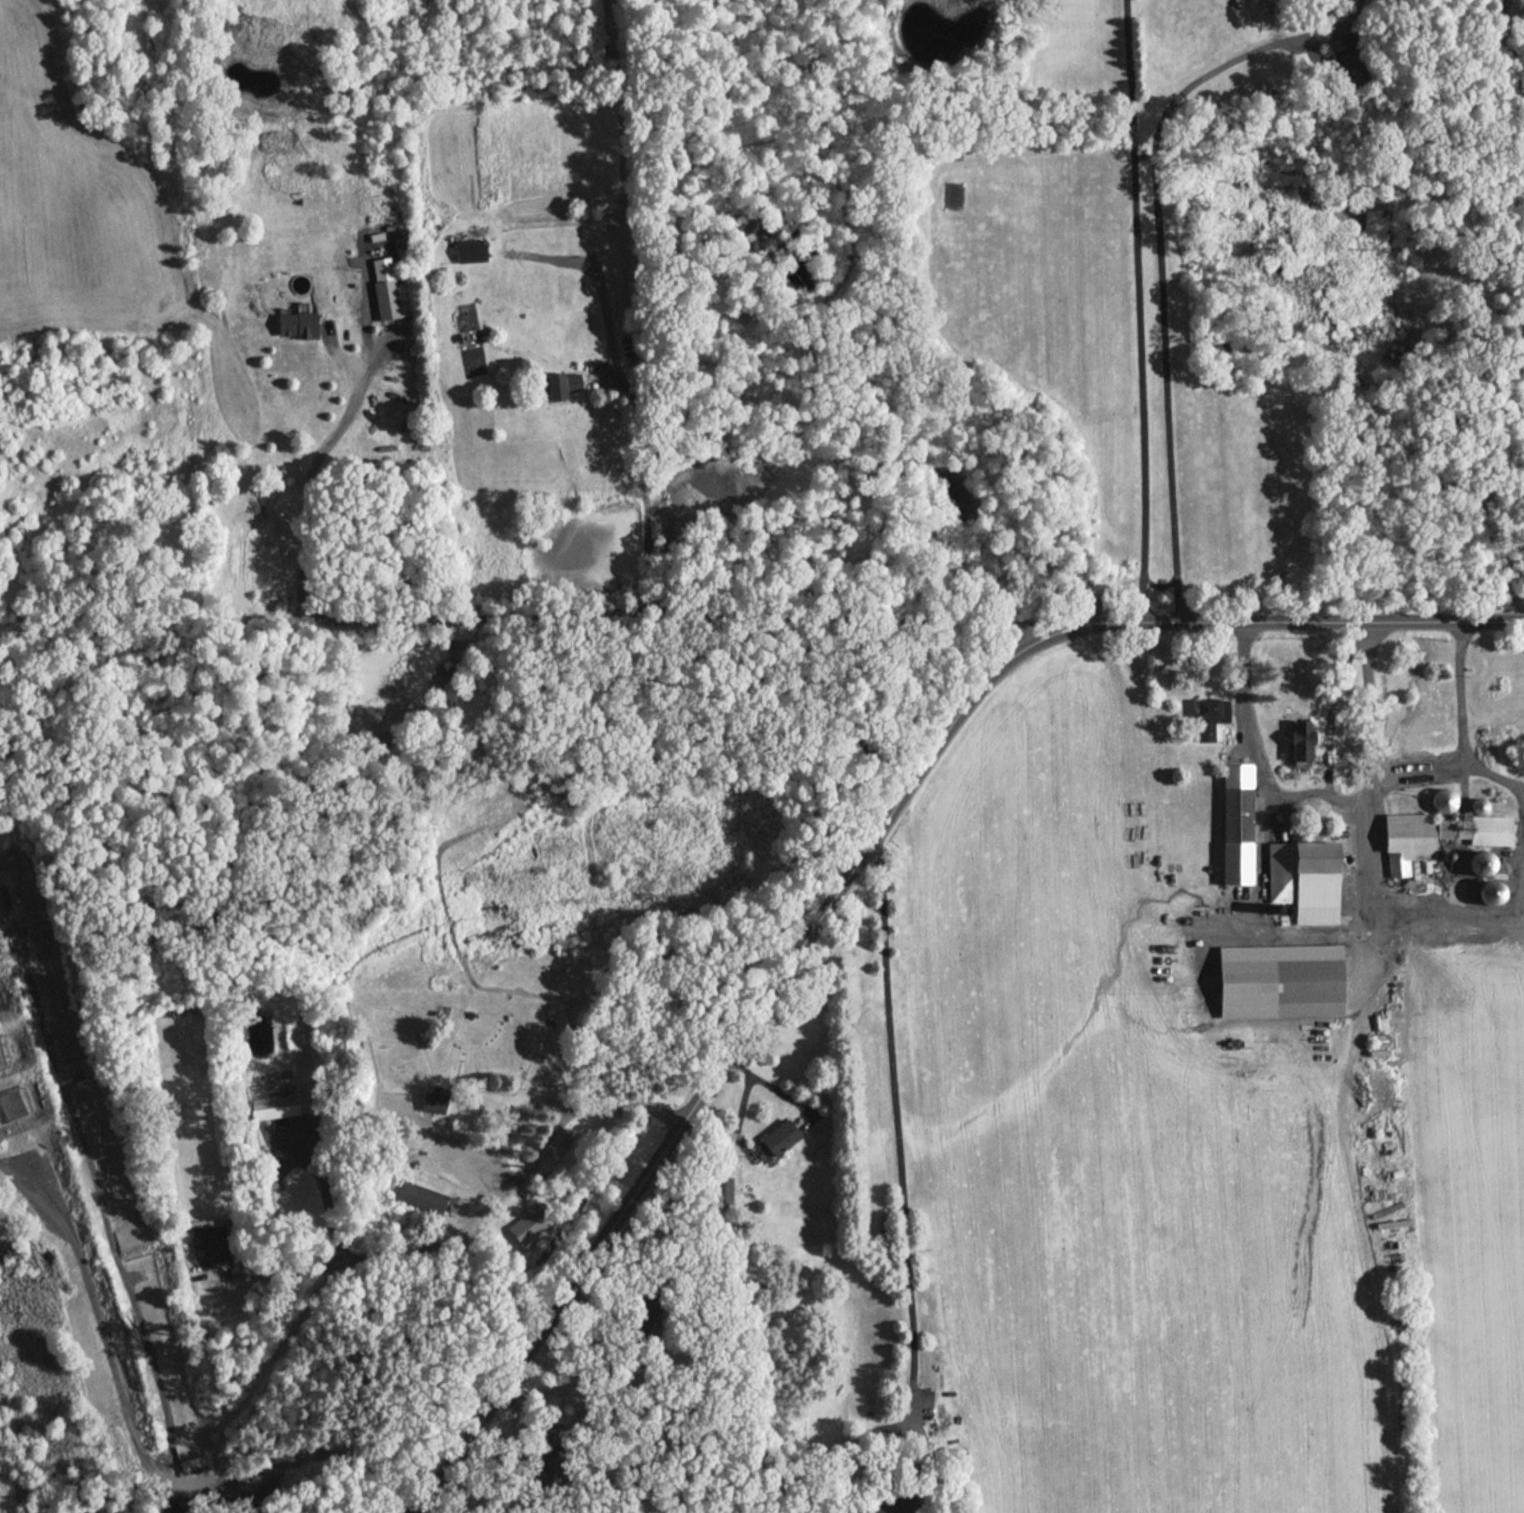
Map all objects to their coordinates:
road: (1511, 48)
building: (1350, 59)
road: (1140, 154)
building: (471, 249)
road: (1156, 251)
building: (387, 289)
road: (1136, 313)
building: (562, 384)
road: (620, 400)
road: (1499, 453)
road: (307, 478)
road: (1158, 583)
road: (655, 619)
road: (1329, 704)
road: (1367, 713)
building: (1209, 716)
road: (1459, 729)
building: (1300, 741)
road: (1420, 769)
road: (1365, 800)
building: (1443, 800)
building: (1236, 823)
building: (1436, 836)
building: (1480, 862)
road: (848, 866)
building: (1304, 879)
building: (1490, 891)
building: (1280, 980)
building: (434, 1099)
building: (779, 1137)
road: (899, 1161)
building: (722, 1190)
building: (420, 1197)
building: (206, 1222)
building: (530, 1222)
road: (466, 1223)

